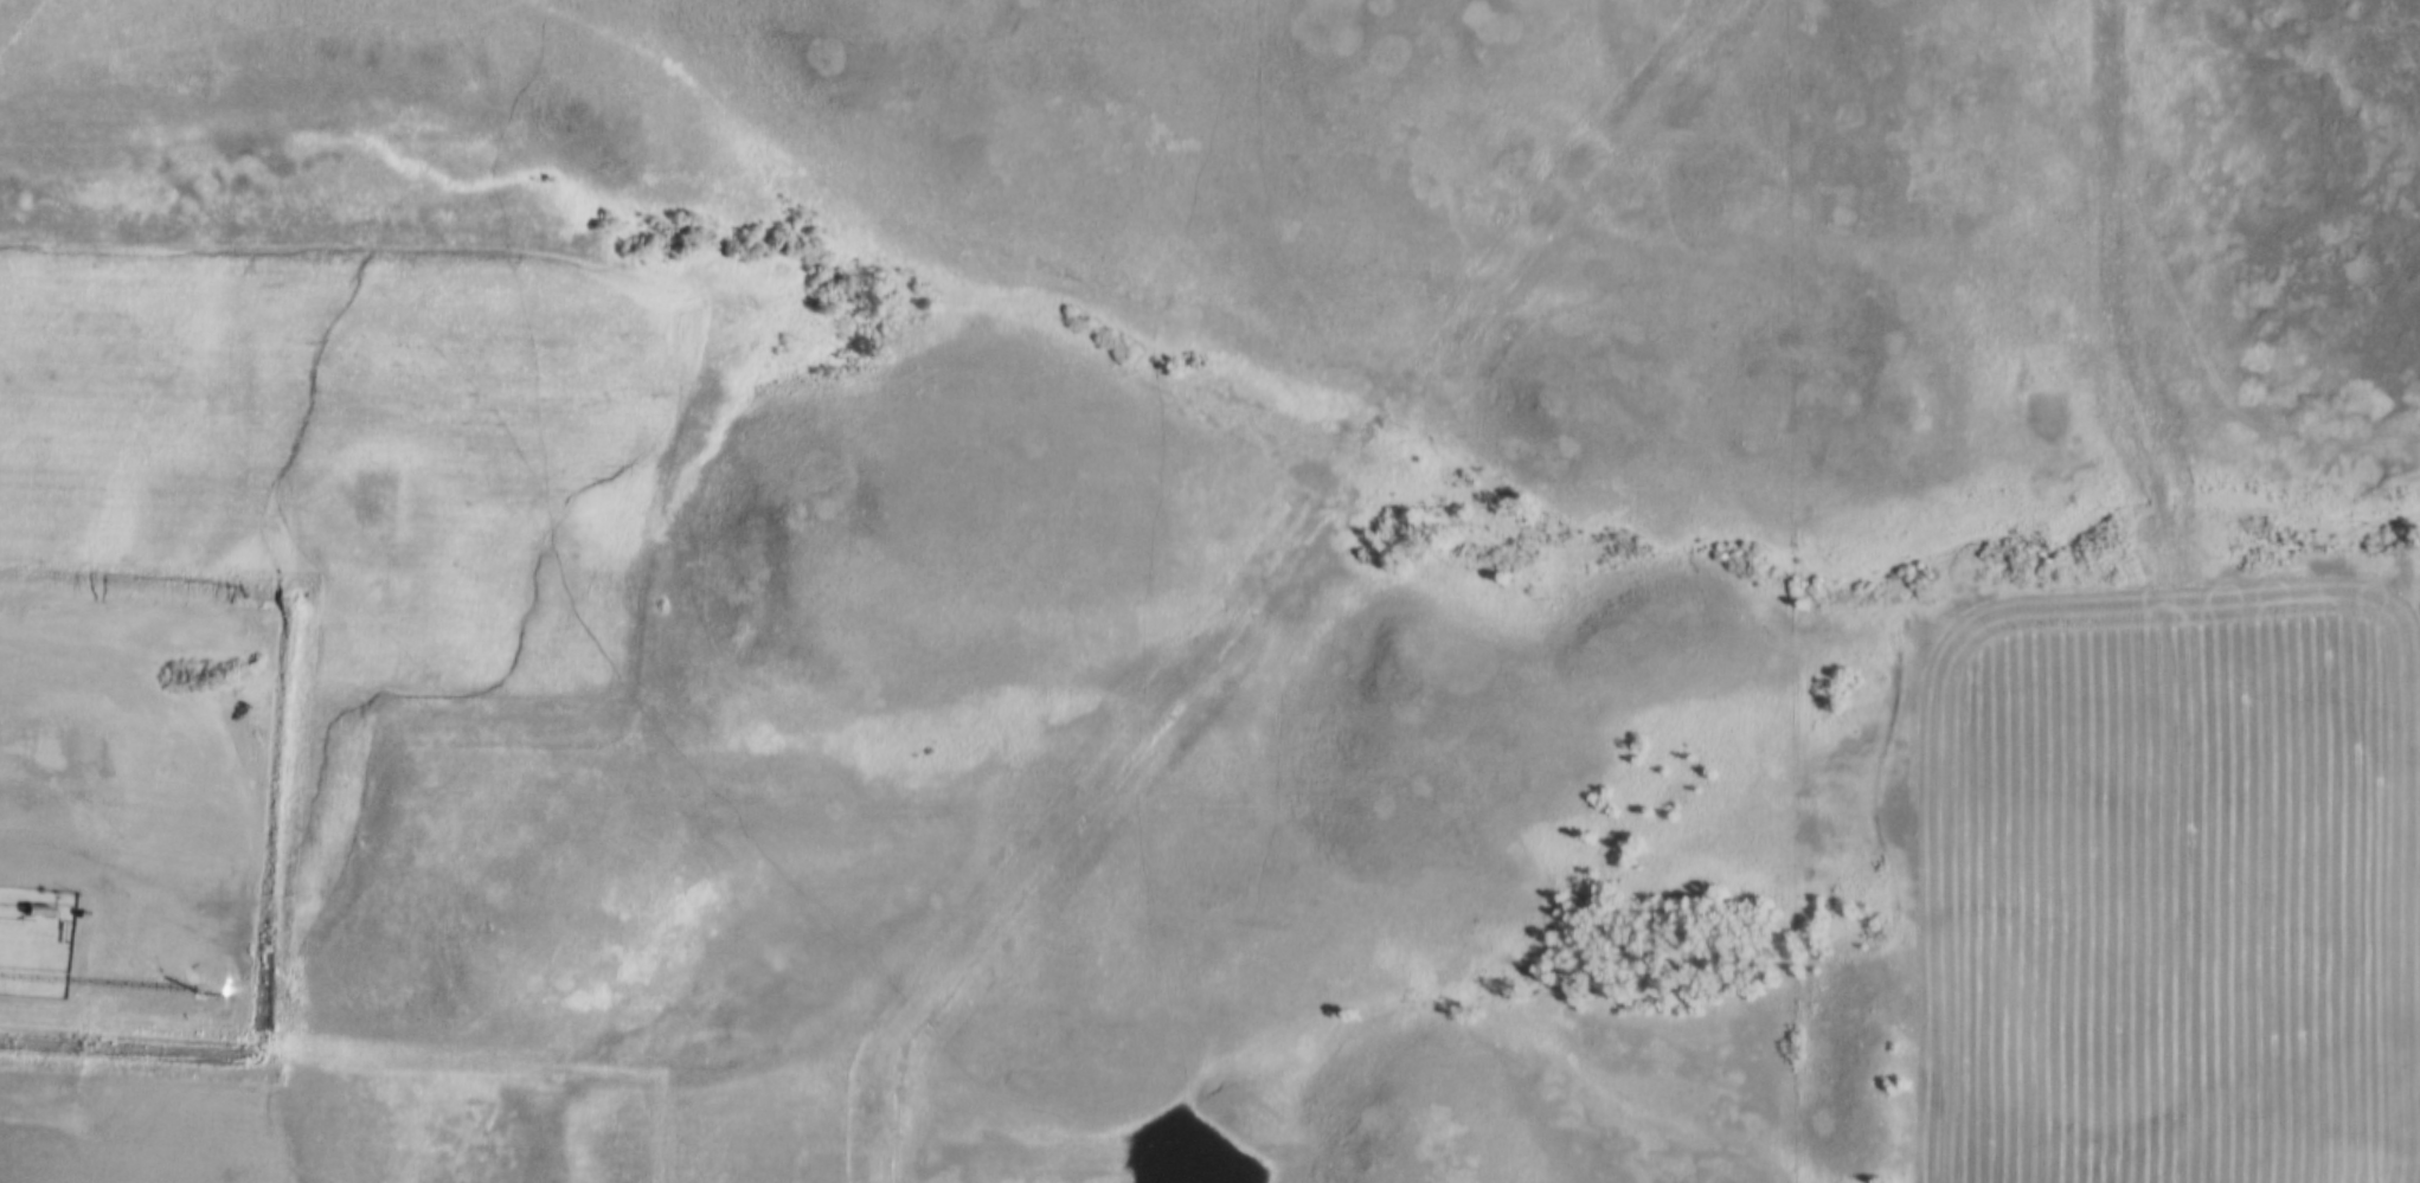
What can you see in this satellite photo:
road: (2169, 294)

